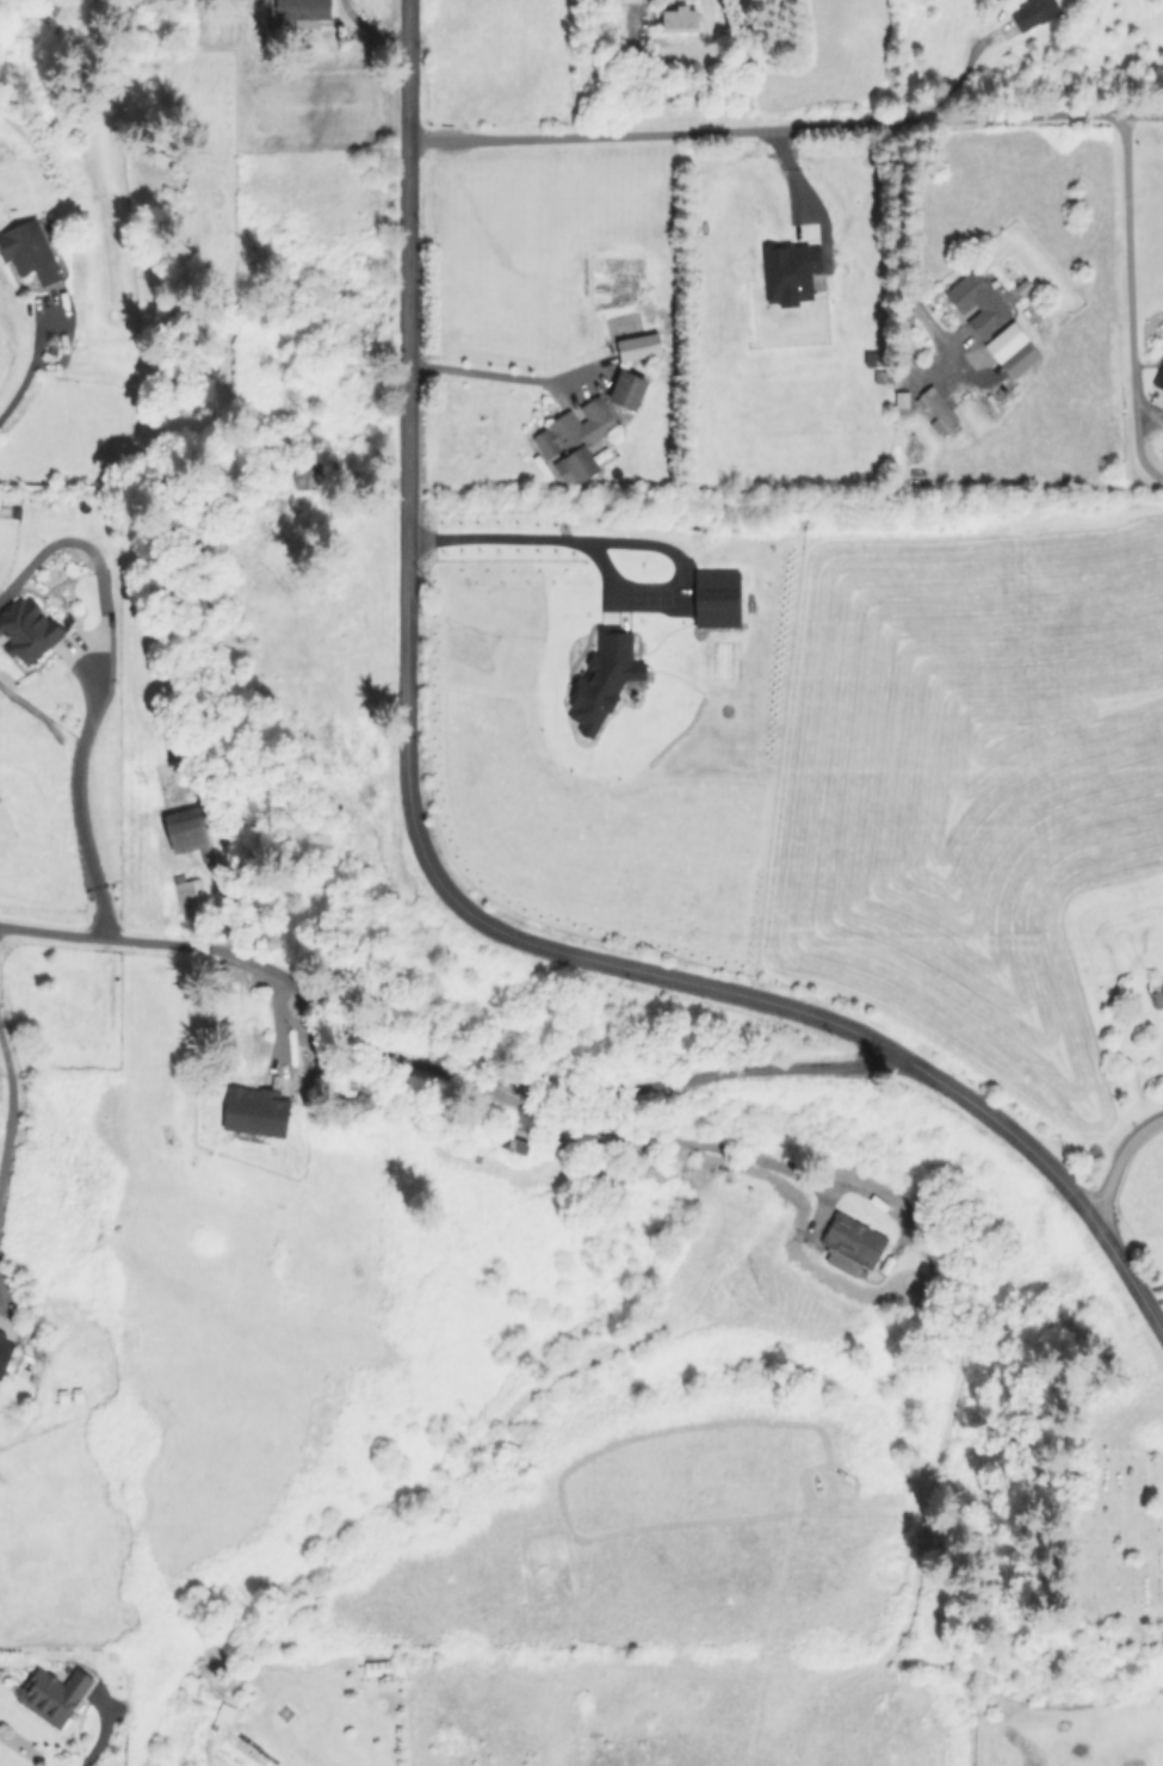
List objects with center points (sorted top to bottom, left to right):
building: (302, 11)
building: (1032, 12)
building: (679, 19)
road: (369, 26)
road: (784, 129)
road: (794, 191)
building: (29, 251)
road: (1127, 259)
road: (902, 267)
building: (976, 302)
building: (637, 346)
building: (1010, 350)
road: (27, 366)
road: (494, 373)
building: (1158, 377)
building: (625, 389)
building: (901, 402)
building: (936, 409)
road: (1149, 412)
building: (573, 439)
road: (1137, 446)
building: (302, 477)
road: (506, 538)
building: (26, 629)
road: (407, 690)
road: (76, 803)
building: (187, 835)
building: (187, 893)
road: (433, 1070)
road: (11, 1105)
building: (254, 1111)
road: (1003, 1126)
road: (678, 1137)
road: (1116, 1160)
building: (849, 1243)
road: (1127, 1278)
building: (4, 1352)
park: (1122, 1536)
building: (51, 1693)
road: (101, 1730)

